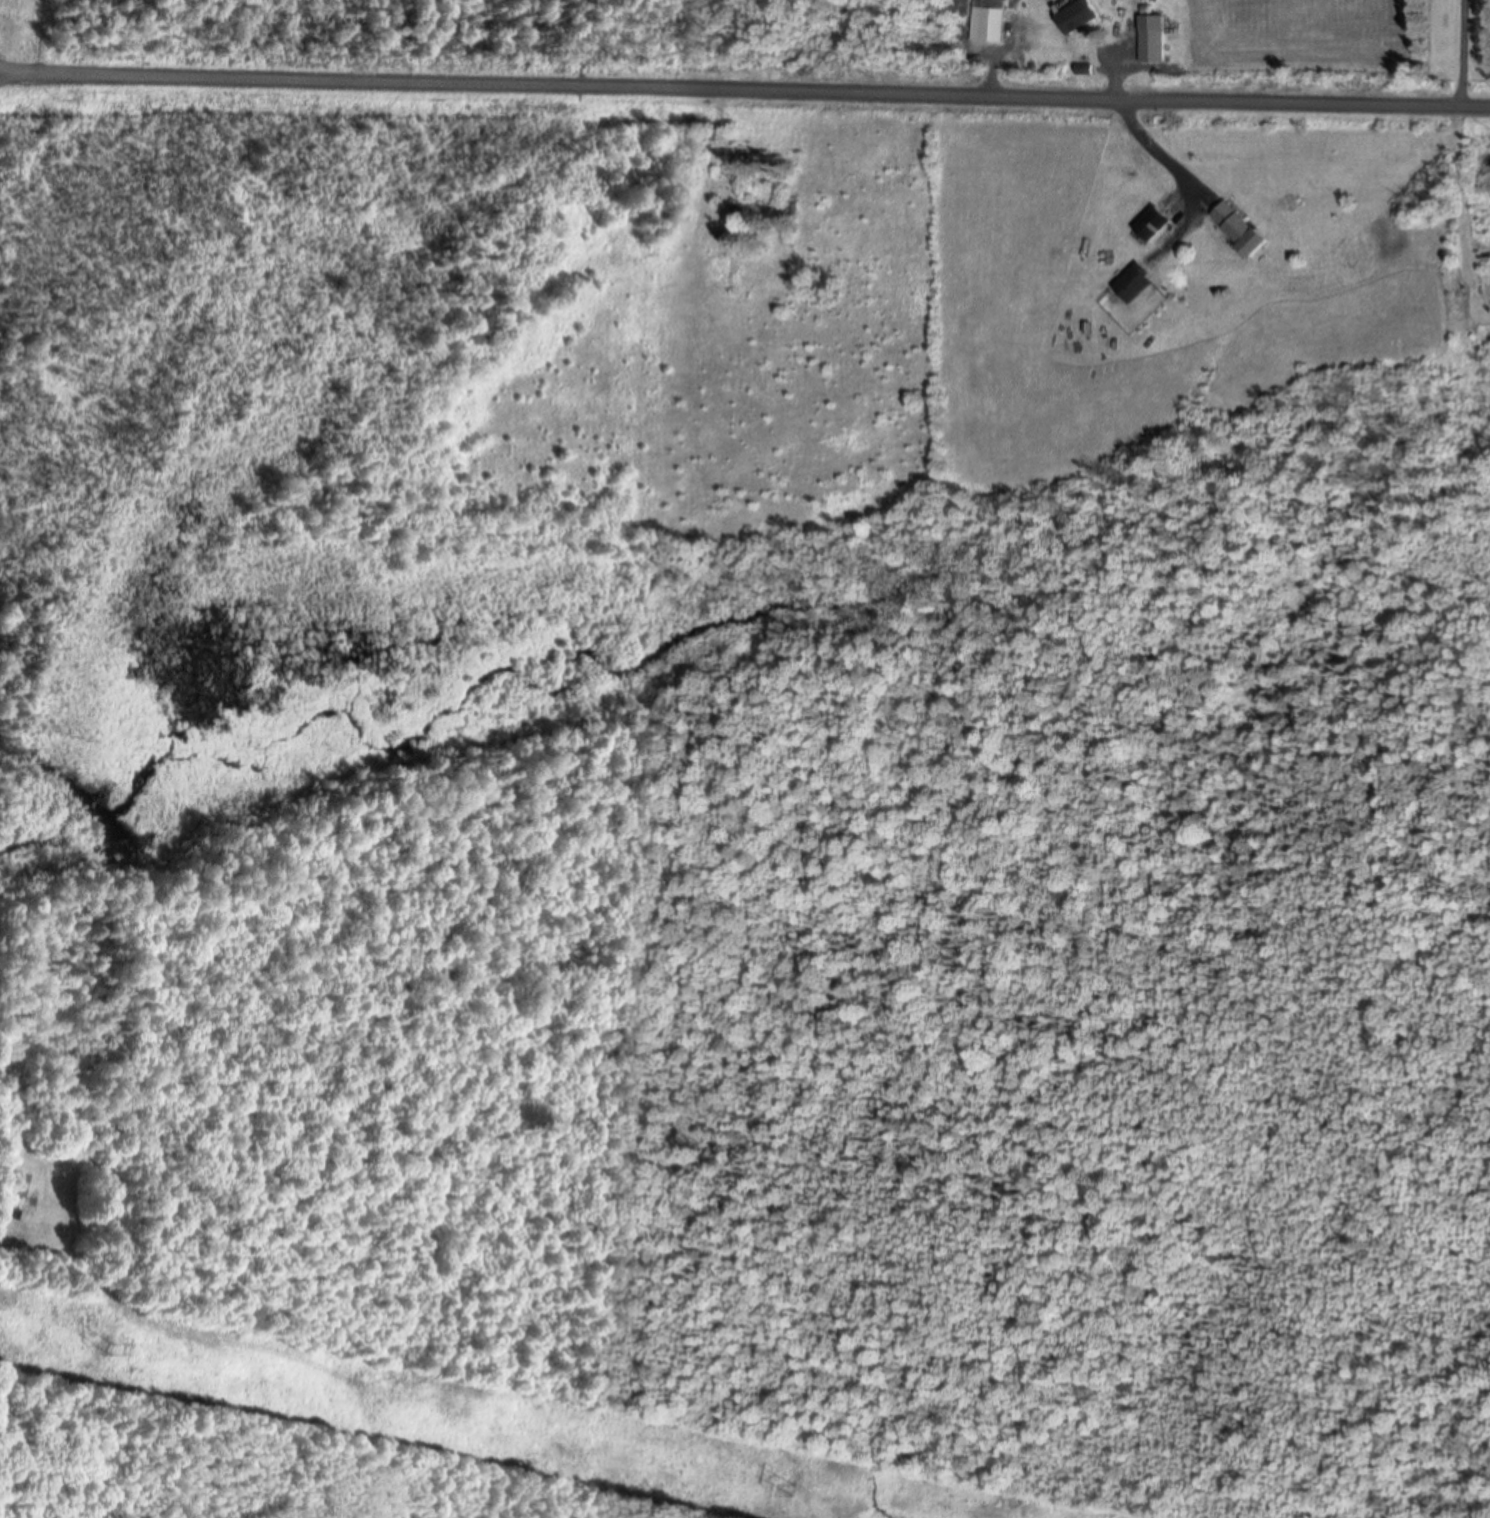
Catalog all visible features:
building: (1082, 17)
building: (988, 22)
building: (1153, 47)
road: (744, 92)
building: (730, 221)
building: (1155, 225)
building: (1244, 229)
building: (1136, 285)
building: (20, 1199)

